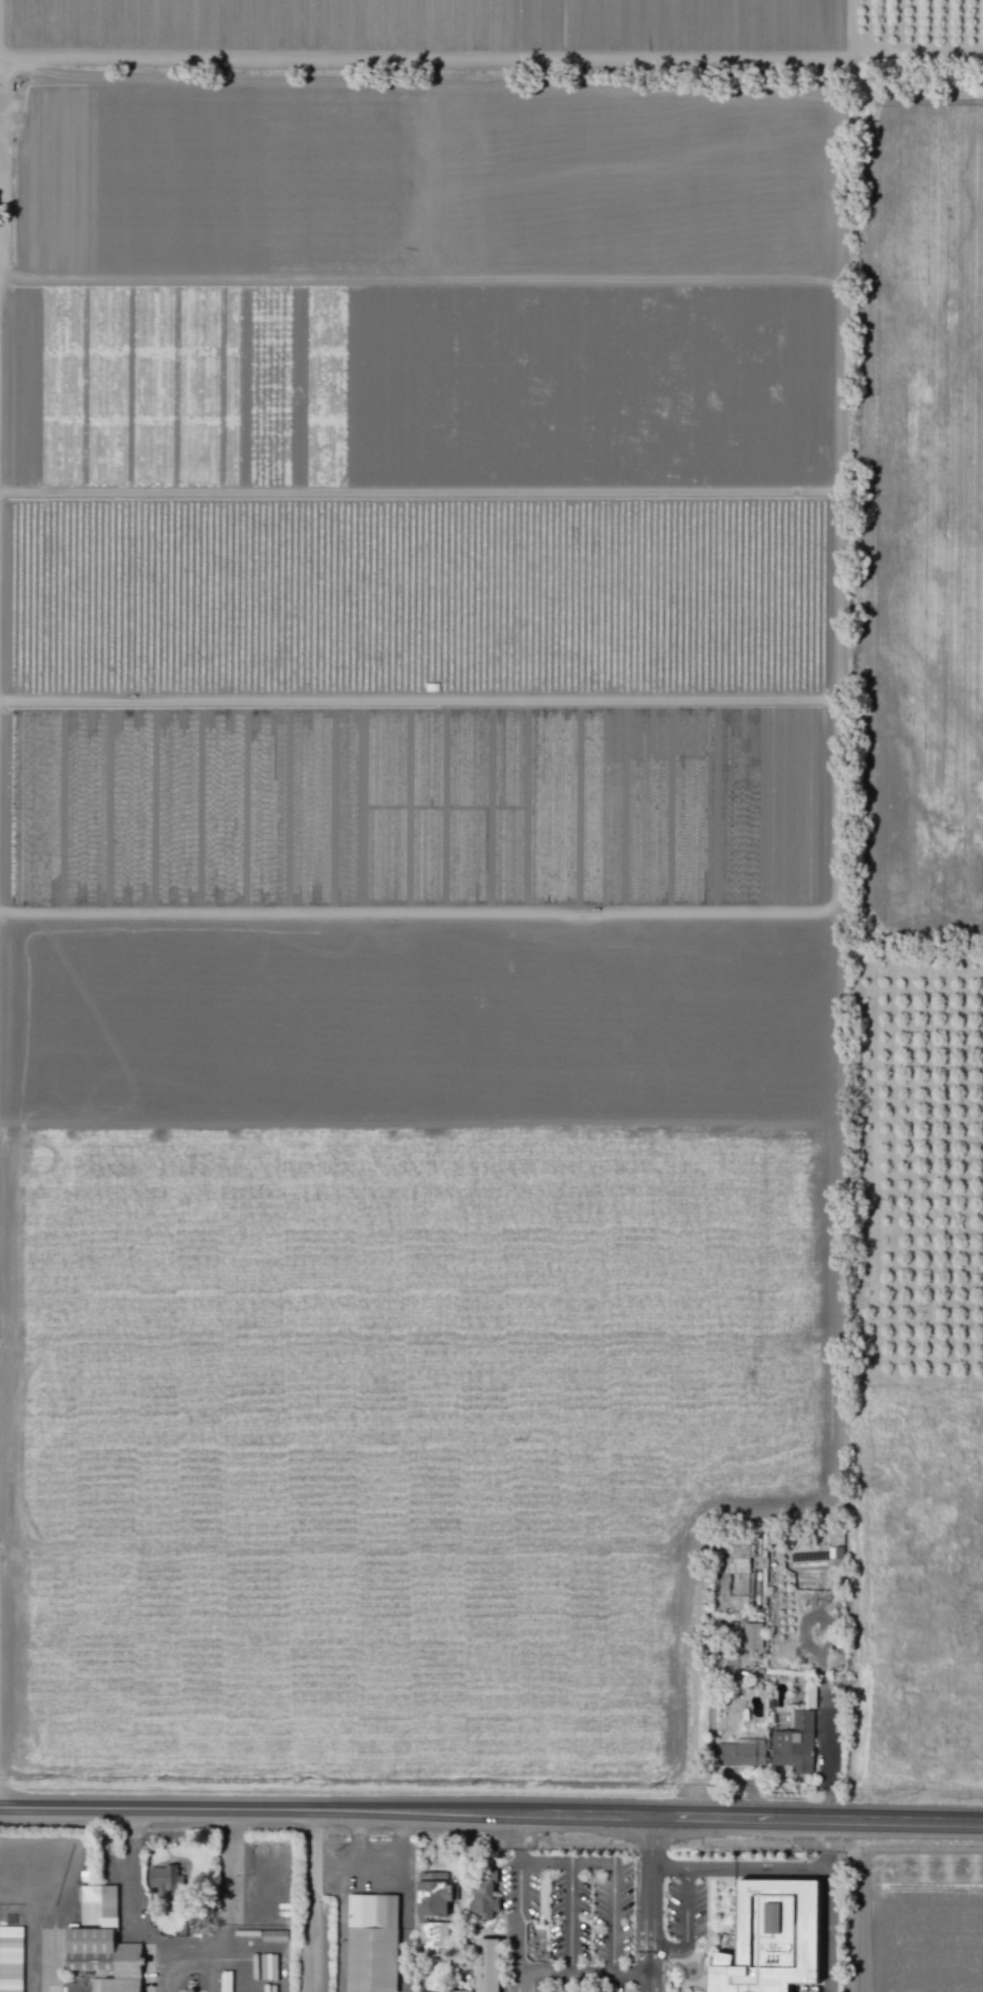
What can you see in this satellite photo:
building: (751, 1636)
building: (809, 1695)
road: (710, 1714)
road: (691, 1720)
building: (793, 1743)
building: (740, 1753)
road: (822, 1753)
road: (261, 1809)
road: (752, 1818)
road: (521, 1837)
road: (650, 1841)
road: (396, 1857)
road: (546, 1862)
road: (592, 1863)
road: (800, 1867)
road: (366, 1869)
building: (164, 1877)
building: (484, 1896)
road: (311, 1901)
building: (432, 1912)
road: (570, 1917)
road: (613, 1918)
road: (645, 1919)
crop: (921, 1920)
road: (518, 1926)
road: (685, 1927)
building: (770, 1937)
building: (102, 1943)
building: (371, 1943)
road: (188, 1946)
building: (10, 1959)
building: (486, 1965)
road: (544, 1971)
road: (608, 1972)
road: (646, 1981)
building: (431, 1991)
road: (646, 1991)

